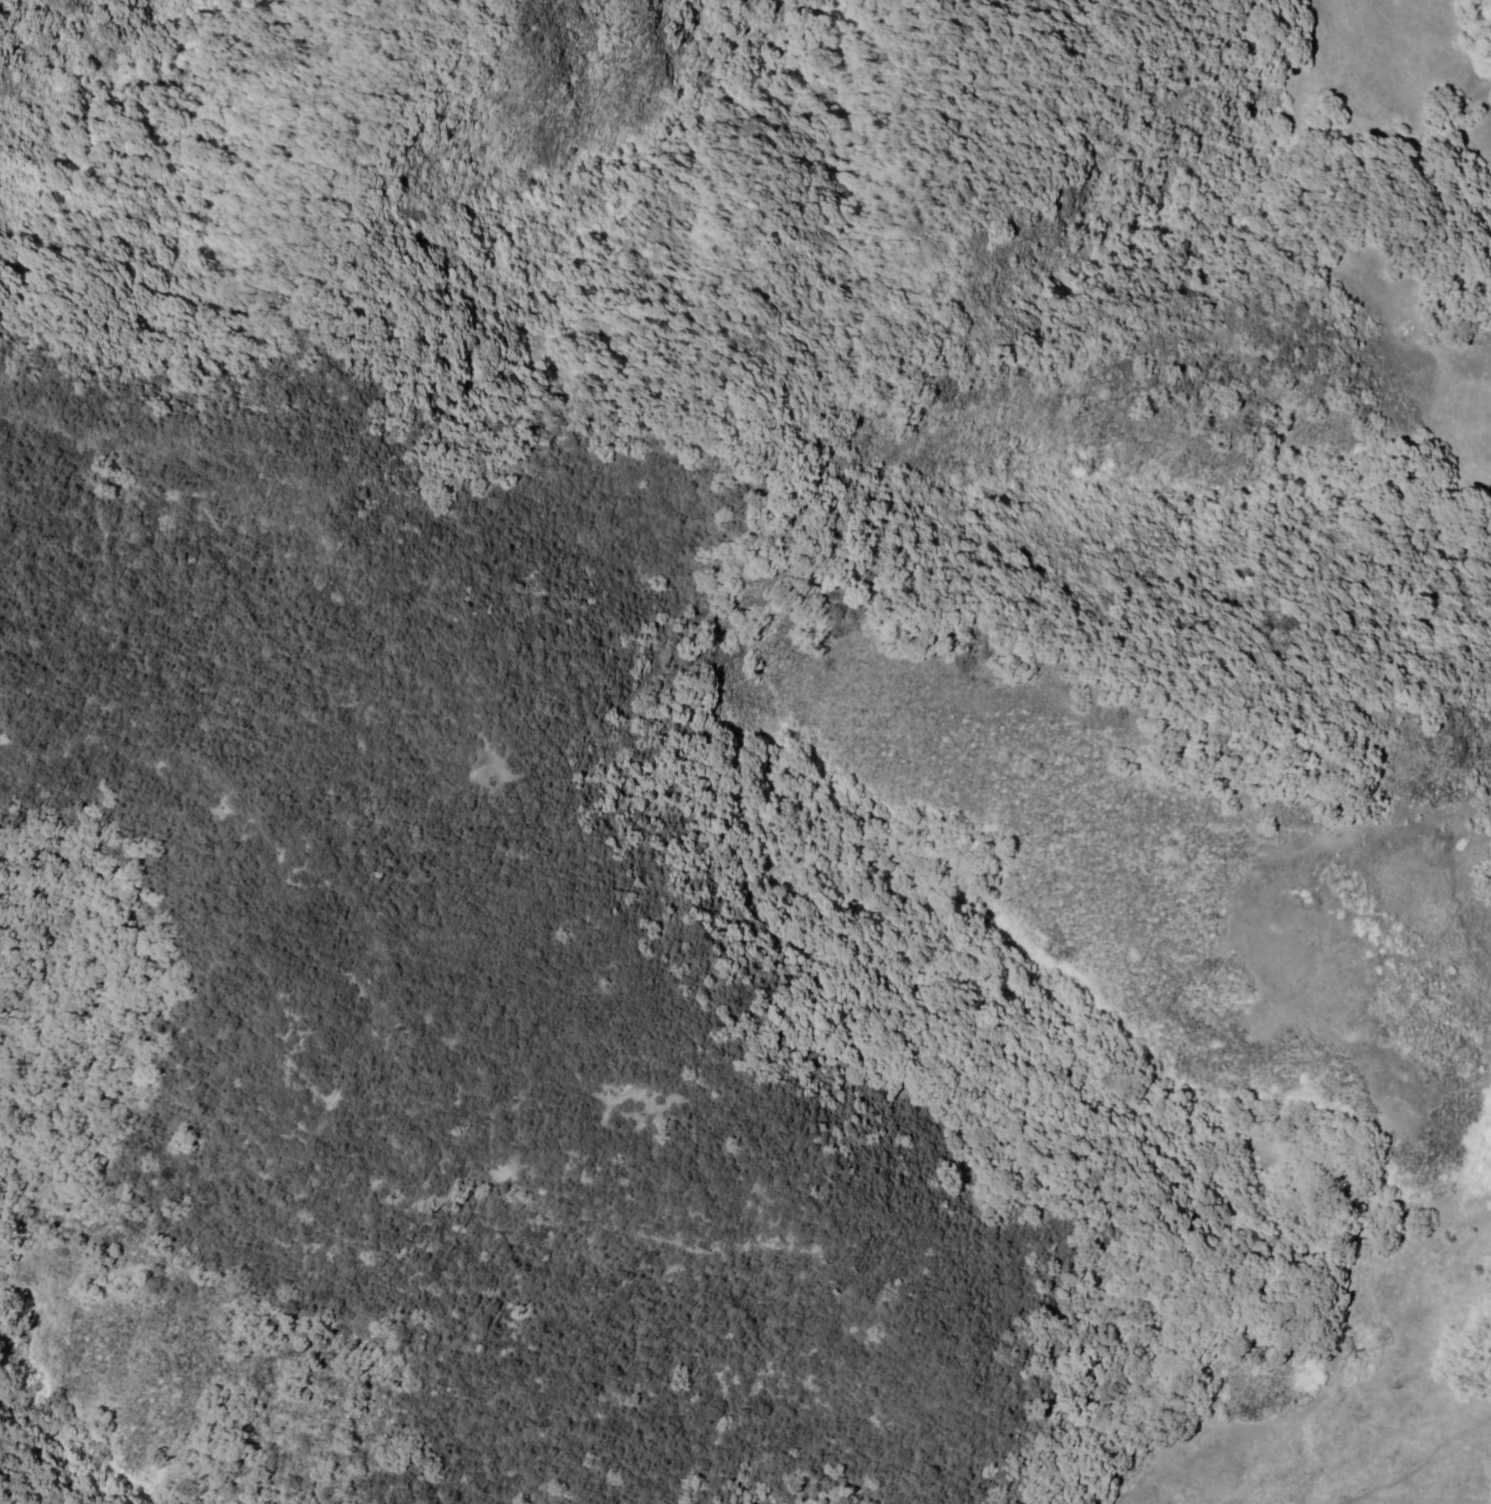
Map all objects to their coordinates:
road: (1476, 1436)

